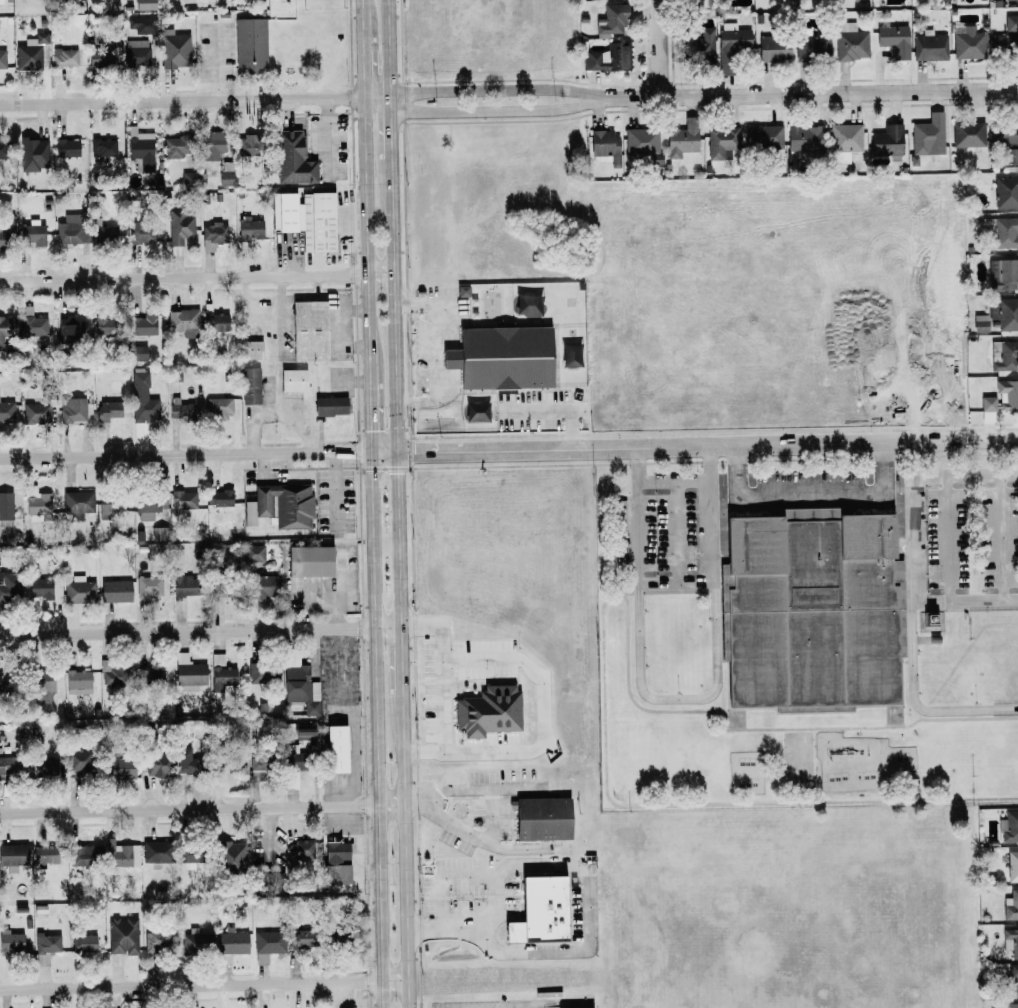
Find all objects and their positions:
building: (721, 0)
building: (860, 0)
building: (1010, 0)
building: (1, 2)
building: (693, 2)
building: (143, 5)
road: (362, 18)
building: (612, 20)
building: (141, 24)
building: (1007, 36)
building: (895, 40)
building: (851, 43)
building: (968, 43)
building: (250, 44)
building: (730, 44)
building: (813, 46)
building: (930, 46)
building: (700, 47)
road: (658, 49)
building: (773, 49)
building: (174, 50)
road: (389, 50)
building: (30, 53)
building: (138, 54)
building: (65, 58)
building: (608, 59)
building: (2, 60)
road: (363, 68)
road: (496, 90)
road: (810, 94)
road: (377, 100)
road: (182, 102)
road: (496, 110)
road: (391, 129)
building: (968, 134)
building: (928, 135)
building: (763, 137)
road: (327, 138)
building: (804, 138)
building: (846, 138)
building: (642, 141)
building: (722, 141)
building: (887, 141)
building: (684, 142)
building: (213, 145)
building: (249, 146)
building: (103, 147)
building: (66, 148)
building: (174, 148)
building: (605, 148)
building: (2, 149)
building: (140, 150)
building: (33, 154)
building: (293, 159)
building: (306, 219)
road: (349, 224)
building: (180, 227)
building: (249, 229)
building: (71, 230)
building: (1002, 231)
building: (32, 233)
building: (103, 233)
building: (141, 234)
road: (368, 234)
building: (213, 237)
building: (1003, 275)
road: (197, 277)
building: (462, 291)
building: (527, 305)
building: (1003, 314)
building: (182, 322)
building: (215, 322)
building: (33, 323)
building: (980, 323)
building: (105, 324)
building: (143, 325)
road: (341, 327)
building: (69, 330)
building: (308, 331)
building: (3, 337)
road: (281, 345)
building: (252, 350)
road: (436, 352)
building: (138, 353)
building: (570, 355)
building: (1004, 355)
building: (501, 358)
building: (294, 381)
building: (250, 386)
road: (396, 392)
building: (1007, 393)
building: (142, 399)
building: (988, 403)
building: (330, 406)
building: (217, 409)
building: (180, 410)
road: (371, 410)
road: (550, 410)
building: (108, 411)
building: (36, 413)
building: (6, 414)
road: (276, 414)
road: (694, 445)
road: (186, 454)
road: (675, 481)
road: (335, 491)
road: (812, 492)
building: (219, 498)
building: (184, 499)
building: (77, 502)
road: (947, 502)
building: (36, 503)
building: (285, 505)
building: (6, 506)
building: (104, 511)
building: (145, 512)
building: (249, 514)
road: (676, 532)
building: (157, 535)
road: (1003, 537)
building: (253, 553)
building: (309, 561)
road: (677, 583)
building: (10, 585)
building: (184, 585)
building: (148, 586)
building: (38, 587)
building: (264, 587)
road: (339, 589)
building: (78, 590)
building: (221, 590)
building: (114, 591)
road: (668, 591)
road: (966, 600)
building: (812, 611)
building: (930, 619)
road: (910, 624)
road: (201, 630)
building: (217, 659)
road: (402, 660)
building: (188, 672)
building: (111, 674)
building: (263, 675)
building: (151, 677)
building: (222, 677)
building: (3, 680)
building: (77, 682)
building: (299, 683)
building: (40, 686)
road: (442, 689)
road: (679, 698)
building: (488, 711)
road: (541, 712)
road: (376, 729)
road: (763, 729)
building: (303, 733)
building: (336, 749)
building: (187, 759)
building: (77, 762)
building: (157, 764)
building: (9, 766)
building: (43, 768)
building: (118, 768)
building: (257, 768)
road: (475, 788)
road: (703, 804)
road: (202, 808)
building: (541, 818)
building: (1009, 827)
road: (482, 837)
building: (300, 850)
road: (406, 850)
building: (155, 851)
building: (13, 854)
building: (42, 855)
building: (82, 855)
building: (231, 855)
building: (120, 856)
building: (188, 858)
building: (336, 862)
building: (1012, 866)
road: (368, 872)
building: (1011, 905)
road: (585, 908)
building: (539, 911)
building: (122, 936)
building: (300, 940)
building: (156, 941)
building: (1010, 941)
building: (11, 942)
building: (197, 942)
building: (268, 942)
building: (83, 944)
building: (230, 946)
building: (46, 947)
building: (260, 959)
building: (1012, 980)
road: (204, 985)
building: (1010, 1005)
building: (190, 1007)

